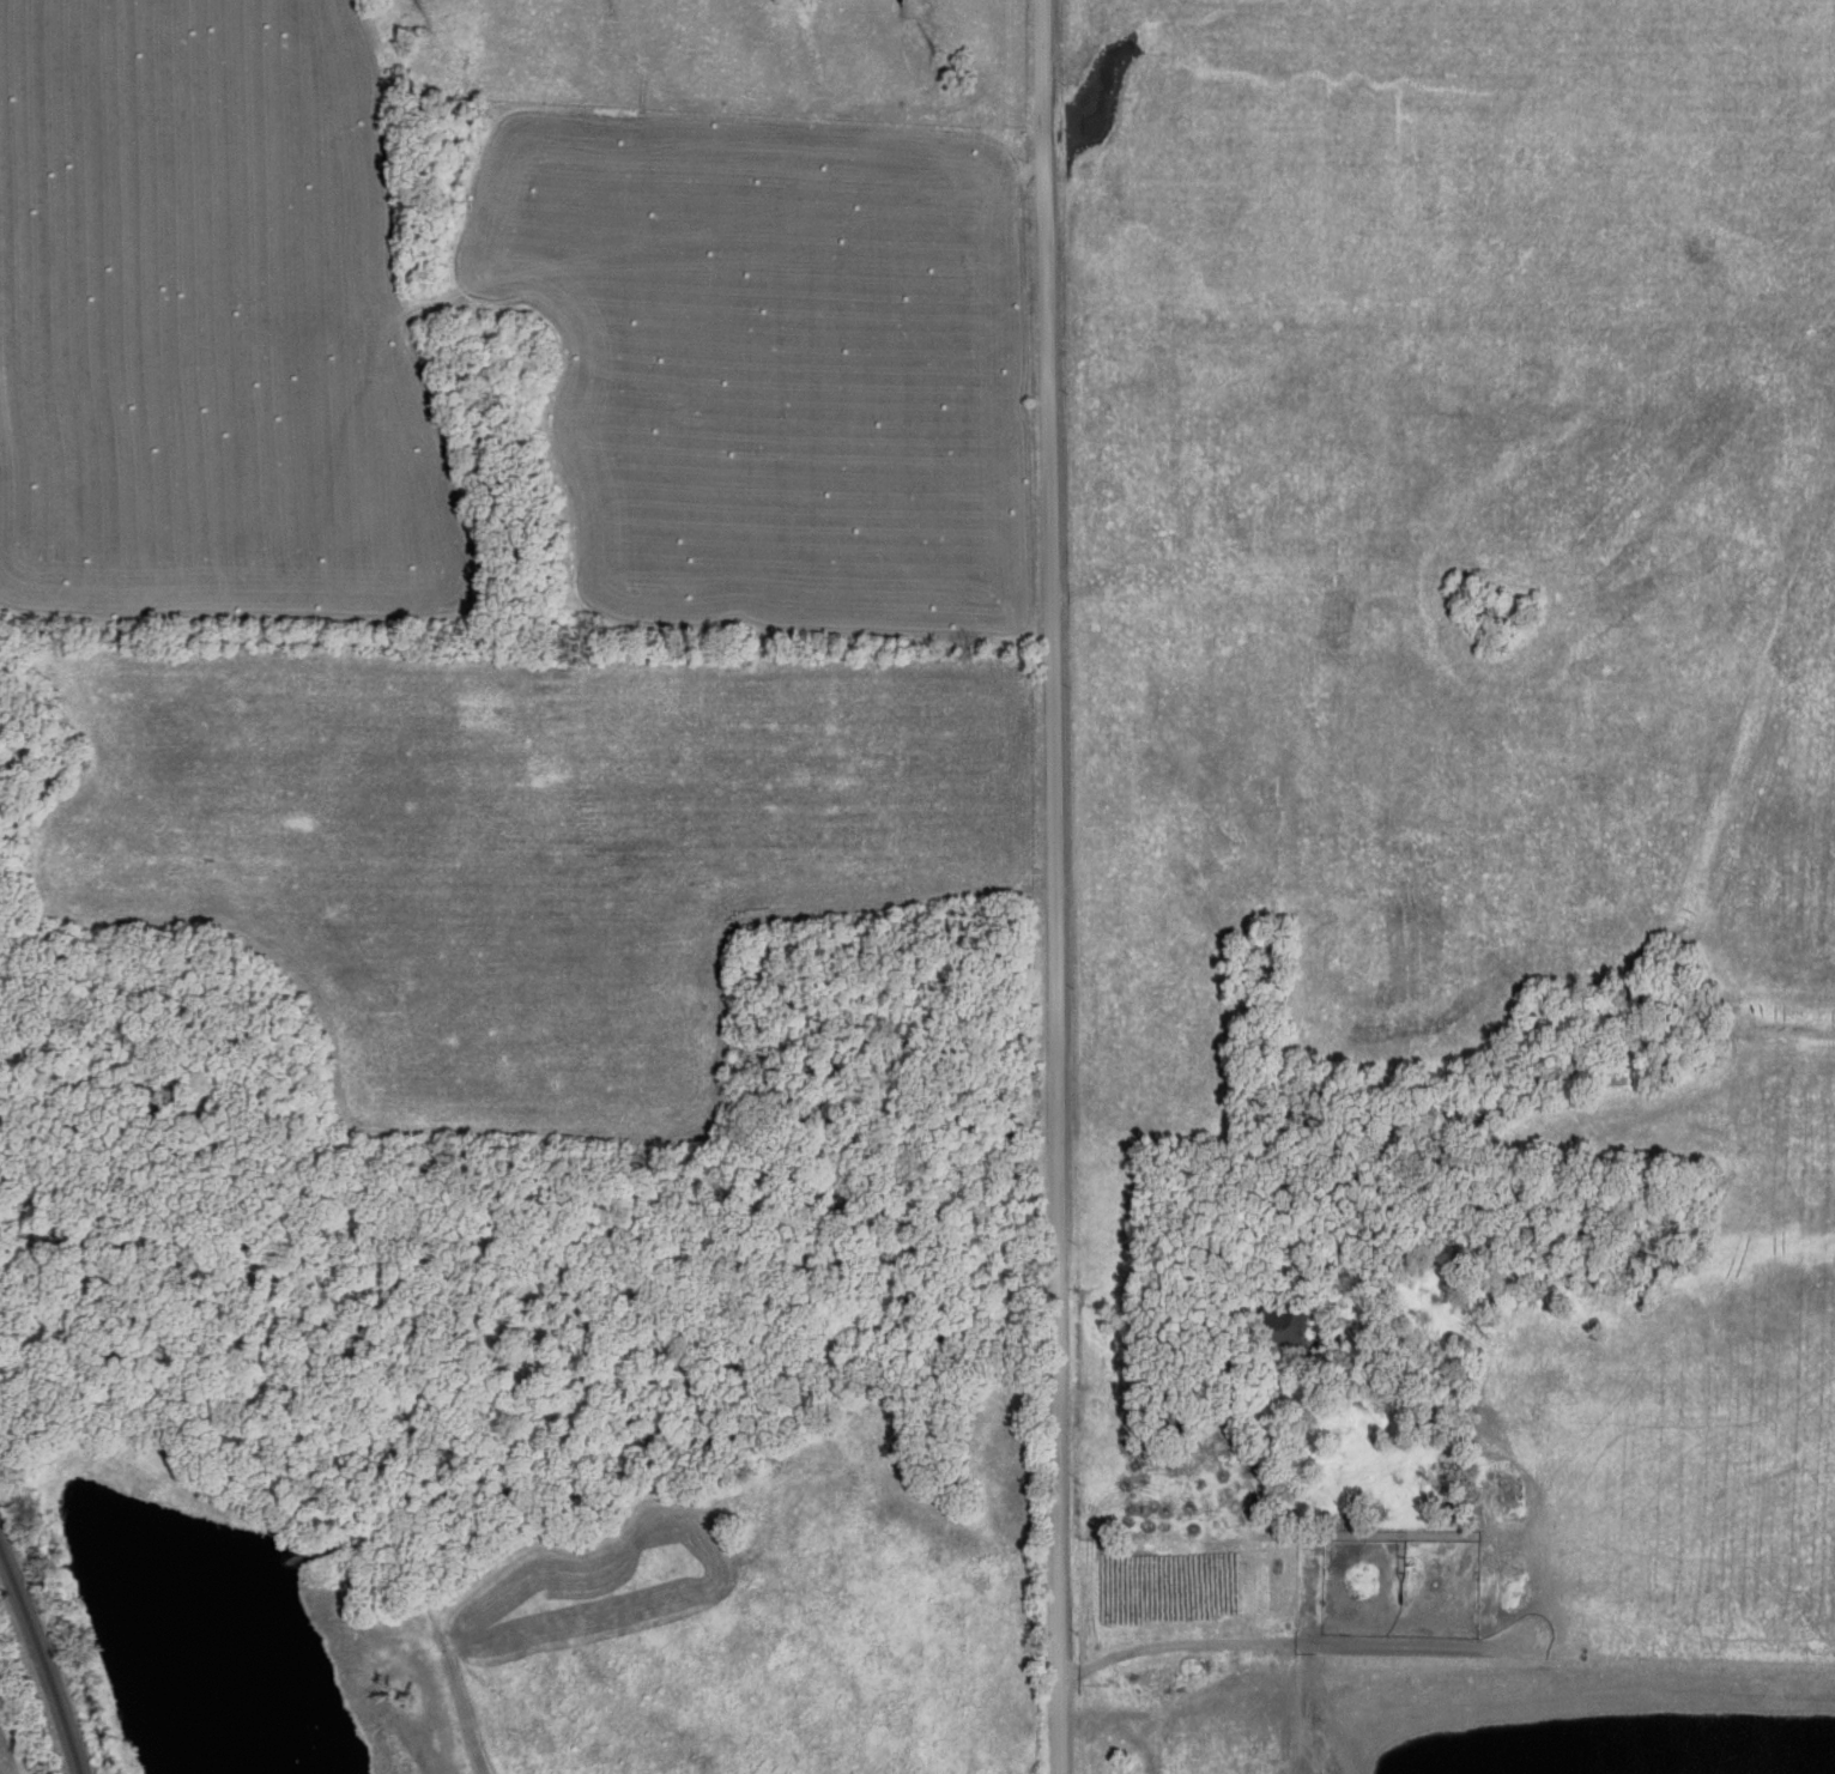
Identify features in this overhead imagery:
road: (1053, 886)
railway: (44, 1661)

